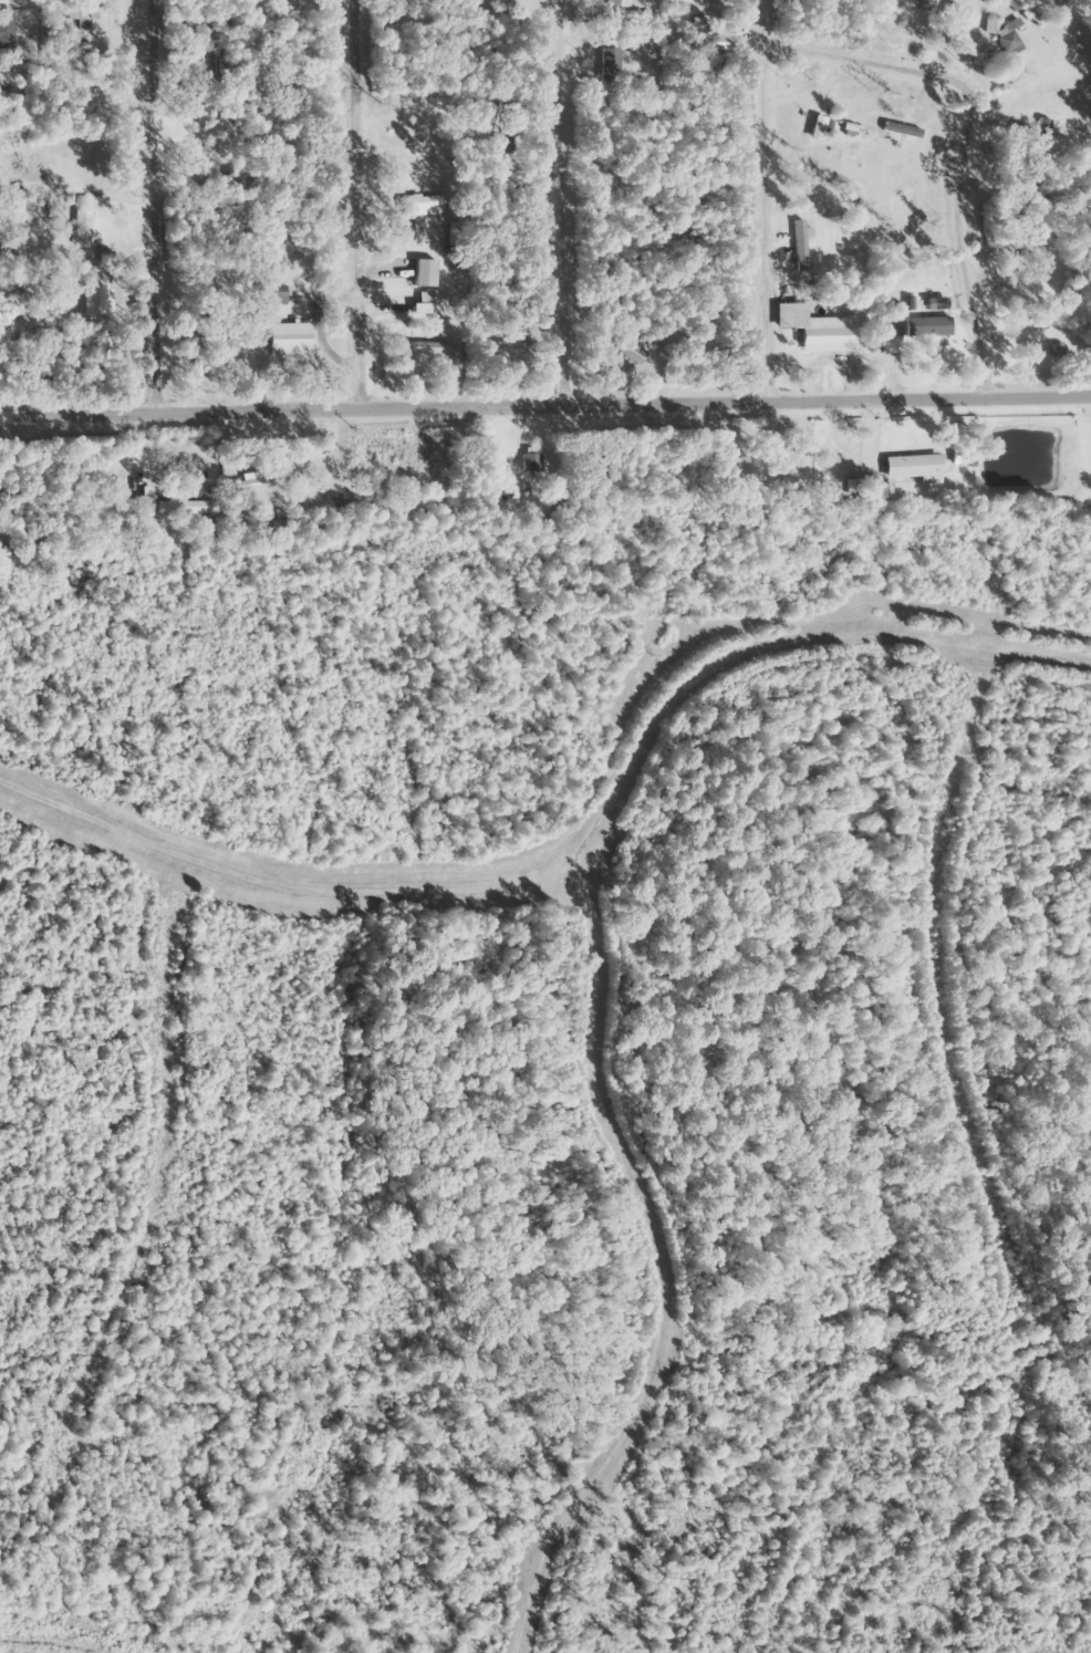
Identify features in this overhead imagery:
building: (620, 3)
building: (946, 24)
building: (987, 27)
building: (1008, 40)
building: (502, 128)
building: (1040, 138)
road: (949, 149)
building: (82, 156)
building: (6, 160)
road: (541, 189)
road: (751, 189)
road: (138, 193)
road: (349, 193)
building: (422, 206)
building: (90, 216)
building: (13, 240)
building: (799, 247)
building: (279, 254)
building: (423, 273)
building: (271, 295)
building: (889, 328)
building: (925, 328)
building: (825, 334)
building: (288, 340)
building: (630, 354)
road: (545, 380)
building: (394, 457)
building: (529, 460)
building: (719, 460)
building: (911, 468)
building: (747, 477)
building: (250, 482)
building: (869, 490)
building: (178, 505)
building: (143, 507)

